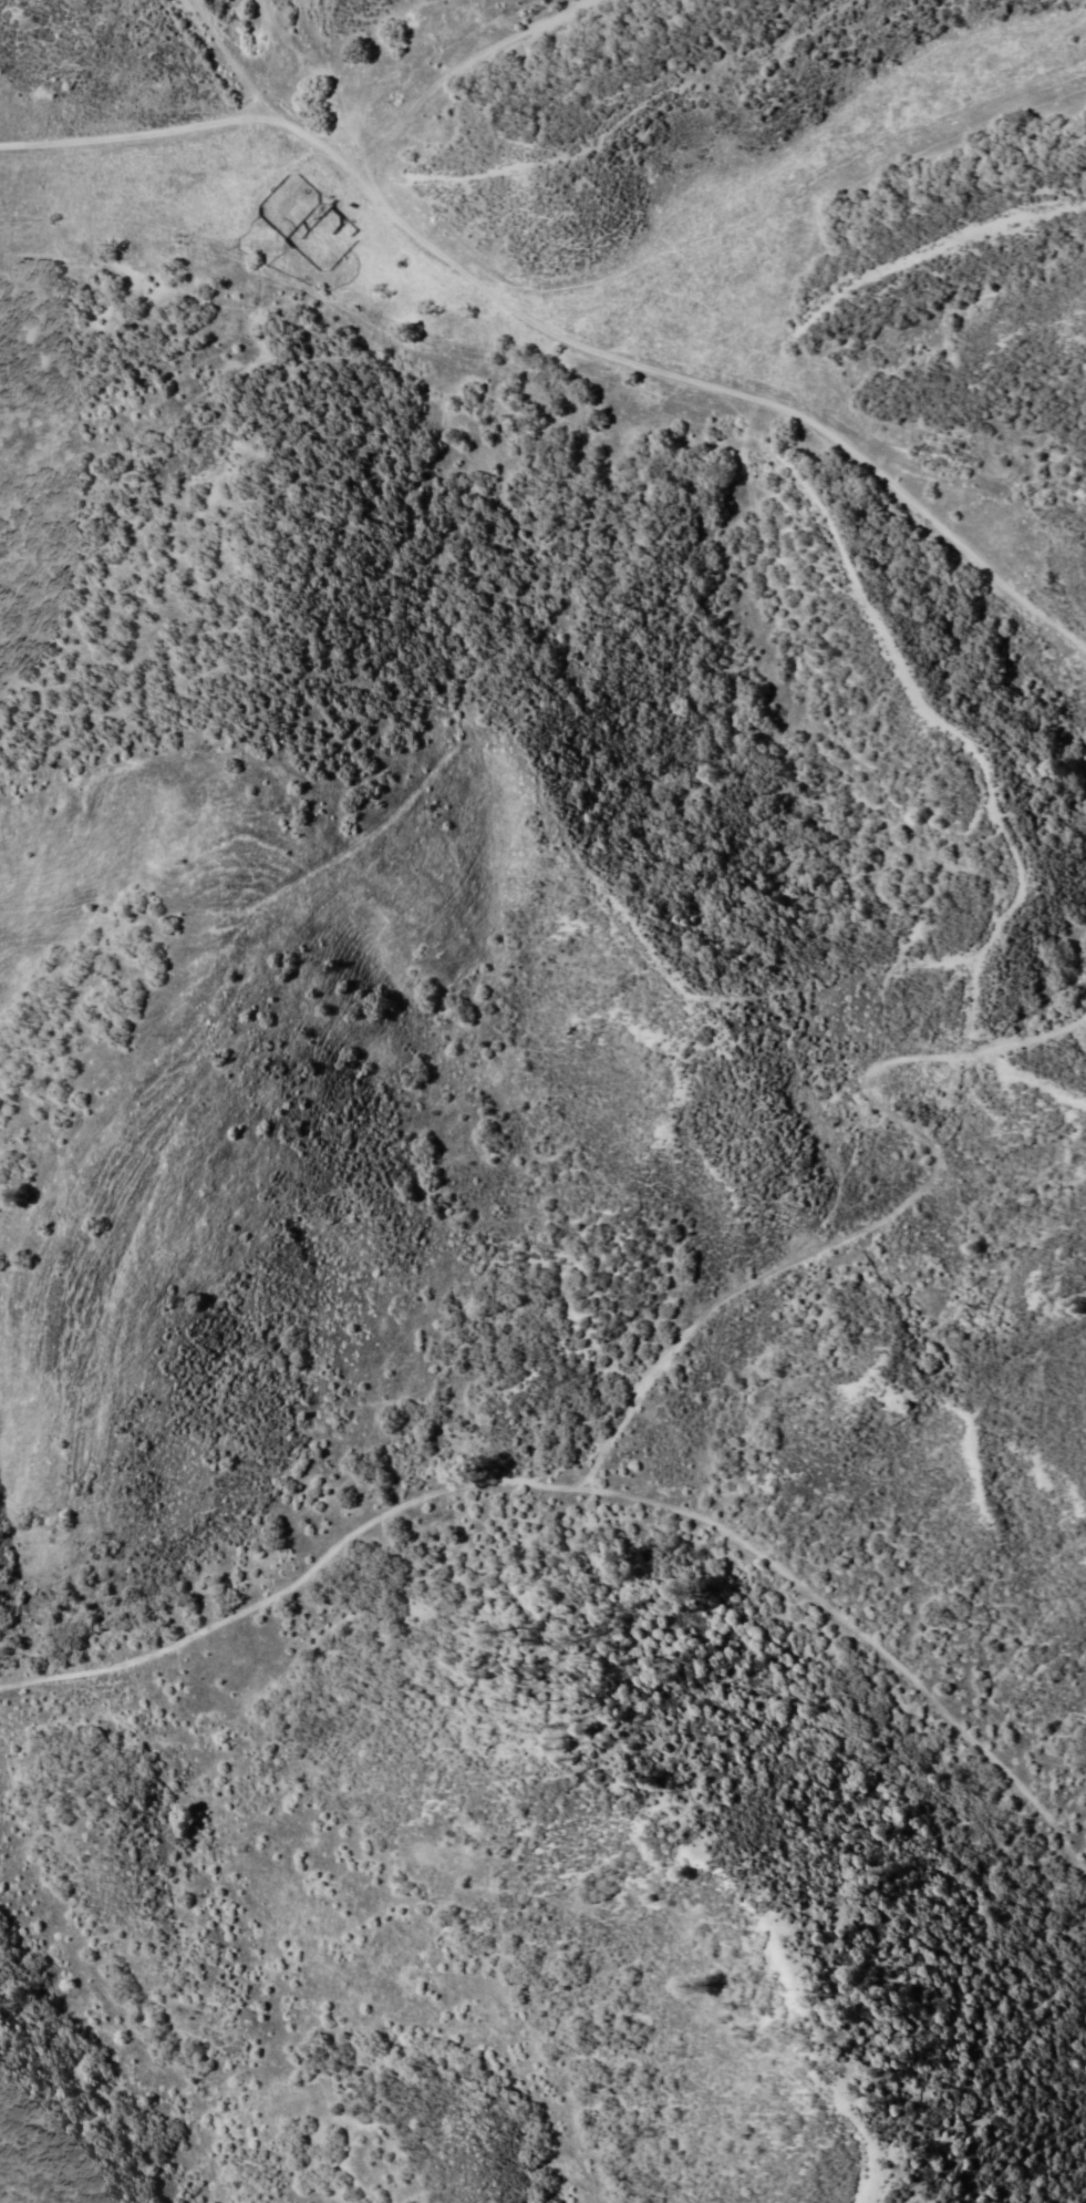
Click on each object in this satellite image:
road: (413, 38)
road: (134, 130)
road: (528, 193)
road: (759, 412)
road: (992, 1079)
road: (1043, 1094)
road: (860, 1607)

